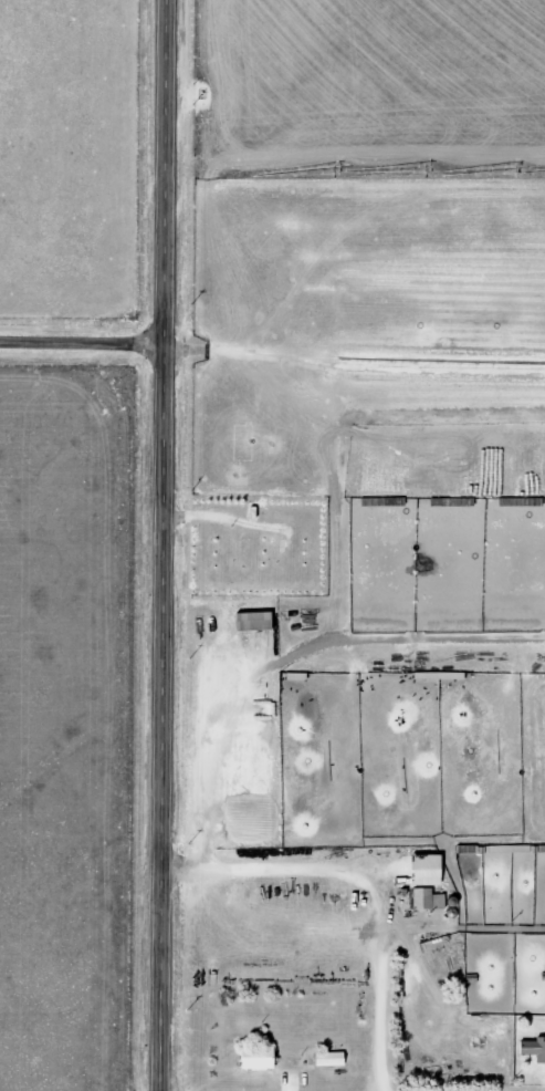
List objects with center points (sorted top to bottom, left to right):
road: (83, 341)
road: (165, 544)
building: (252, 620)
building: (422, 869)
building: (426, 898)
building: (532, 1049)
building: (254, 1057)

